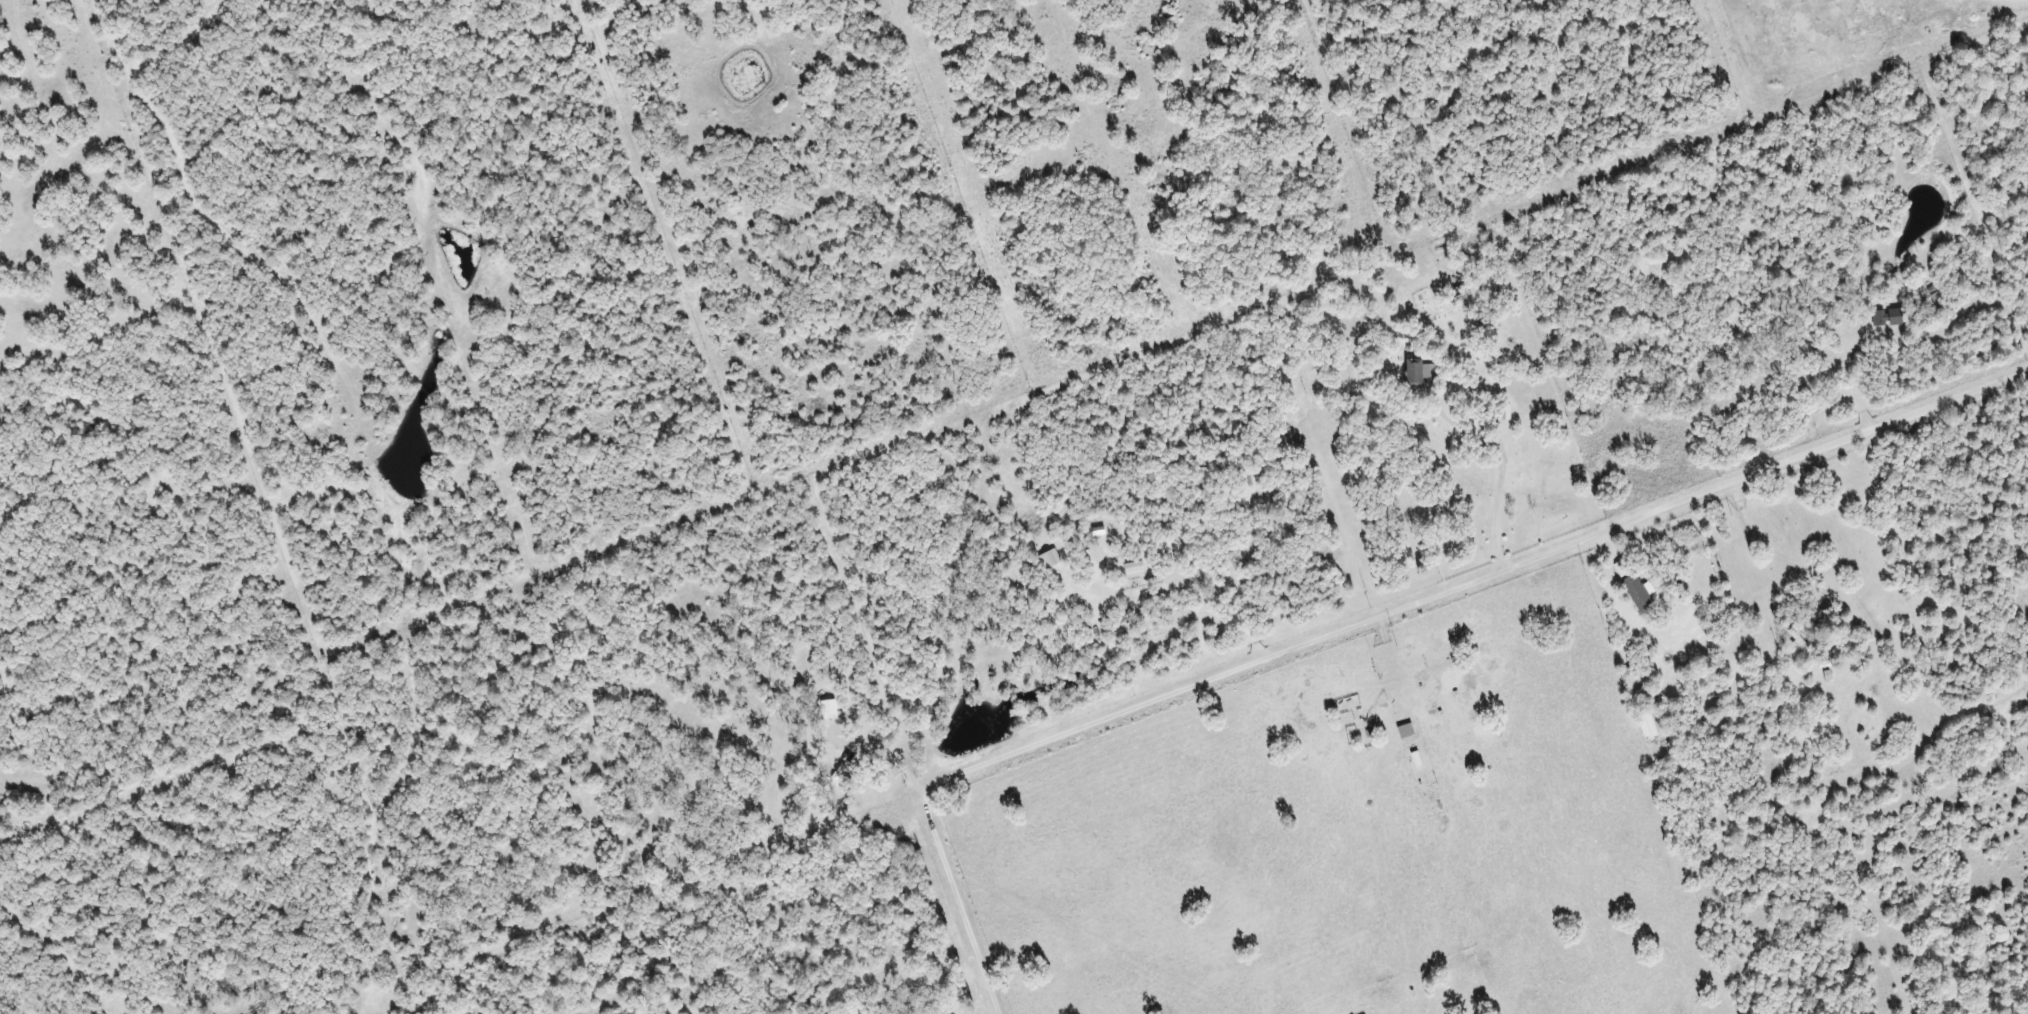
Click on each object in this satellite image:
building: (1878, 318)
building: (1424, 373)
building: (1625, 587)
road: (1371, 619)
building: (1639, 725)
building: (1412, 730)

